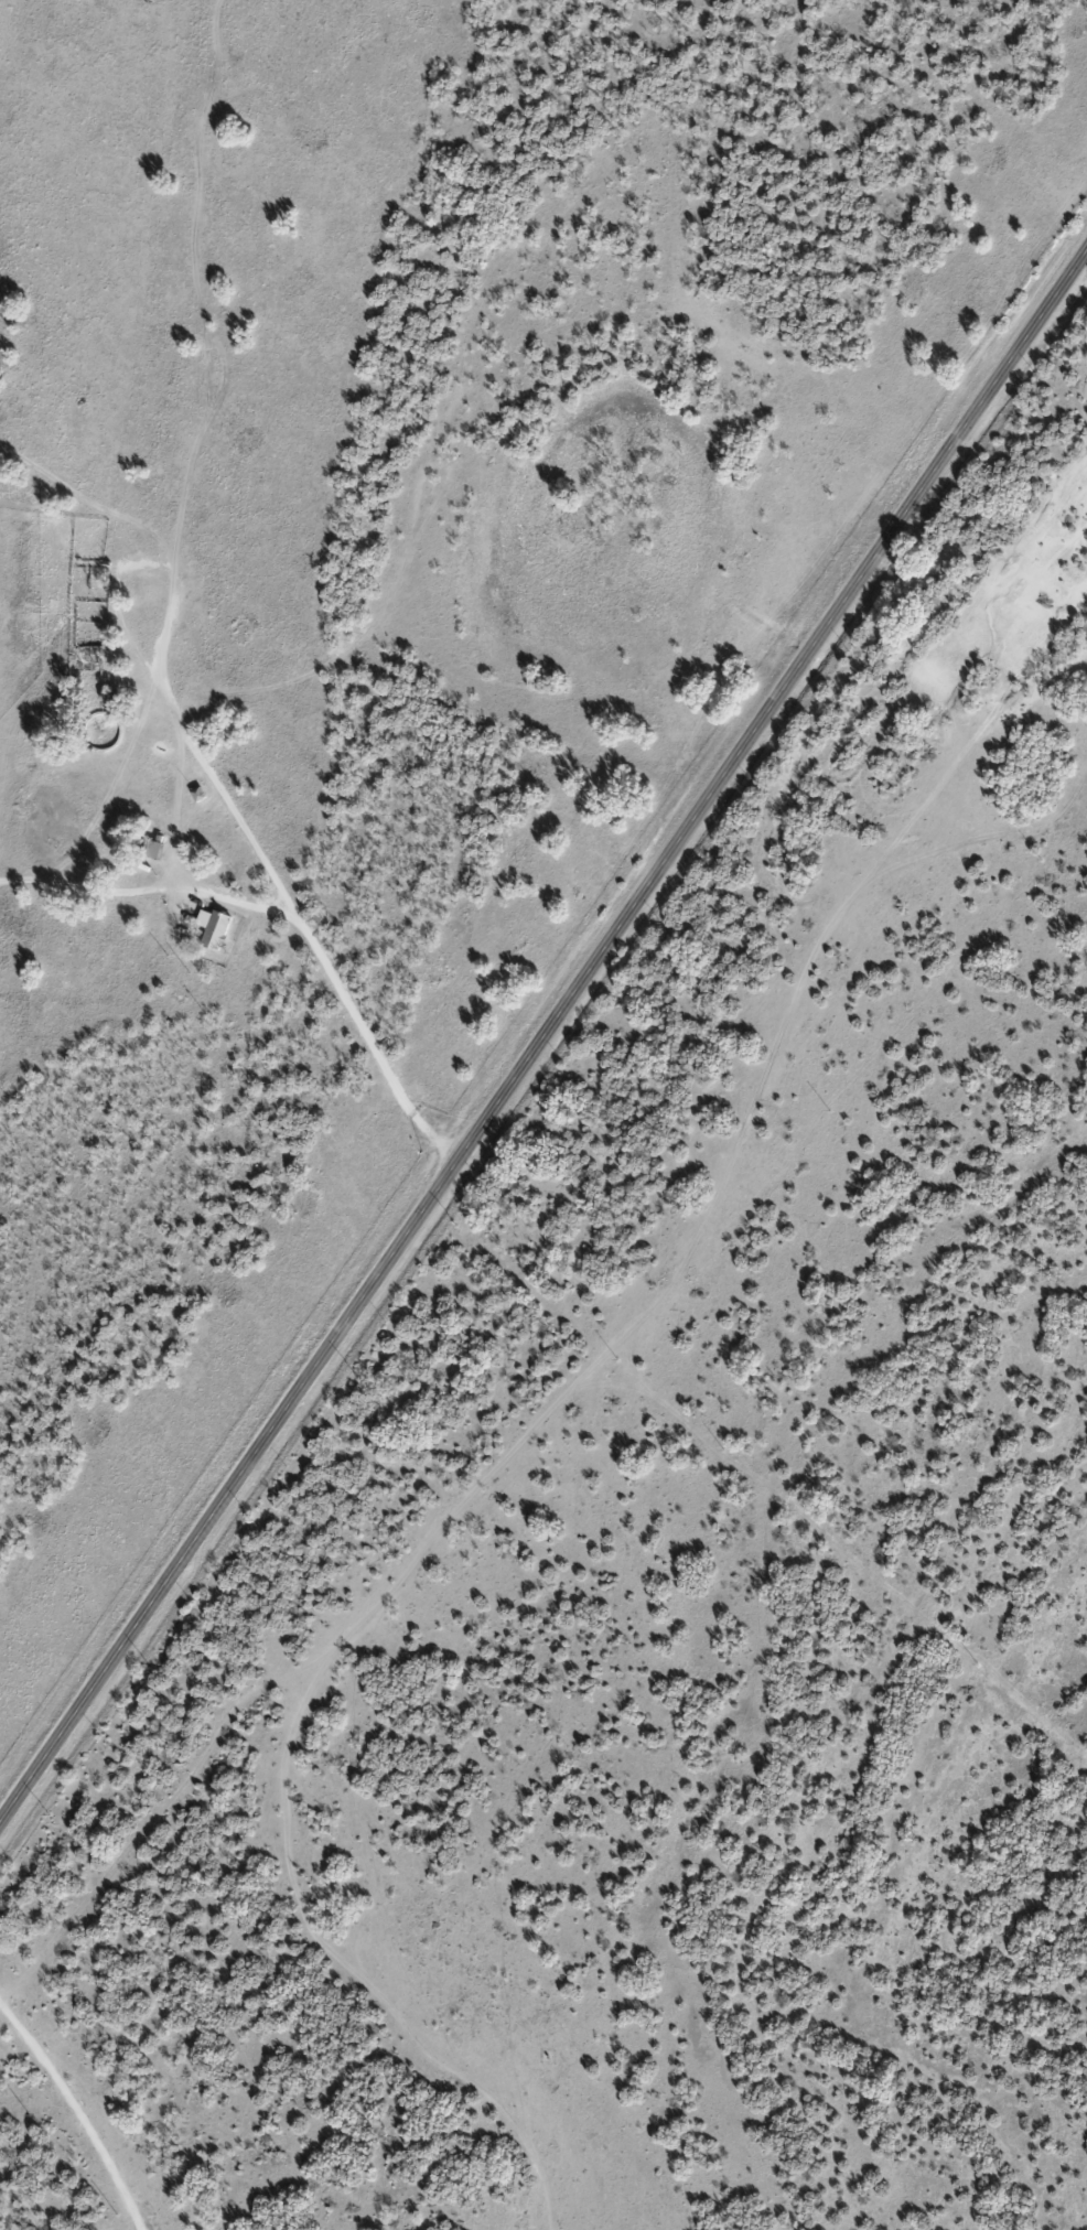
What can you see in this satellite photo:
building: (195, 793)
building: (148, 848)
road: (88, 869)
building: (211, 927)
road: (543, 1039)
road: (77, 1183)

